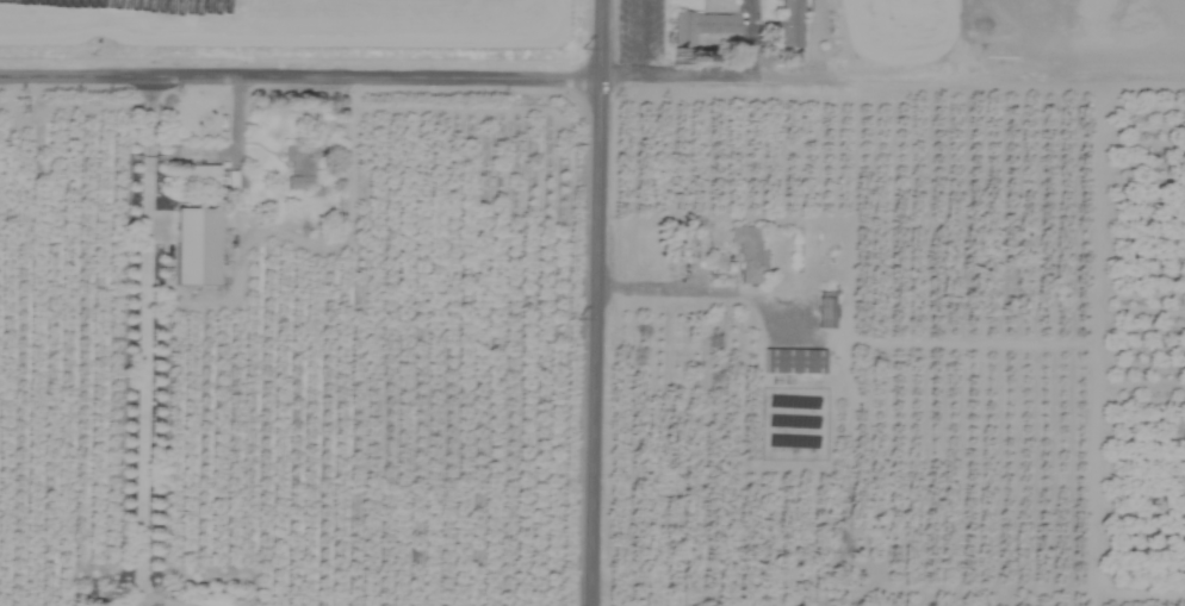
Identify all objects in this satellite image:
building: (789, 24)
building: (708, 33)
road: (299, 71)
road: (892, 79)
building: (298, 164)
building: (201, 176)
building: (235, 180)
building: (196, 248)
building: (747, 254)
road: (658, 290)
crop: (592, 302)
road: (594, 302)
building: (825, 313)
road: (143, 336)
building: (793, 362)
road: (144, 601)

